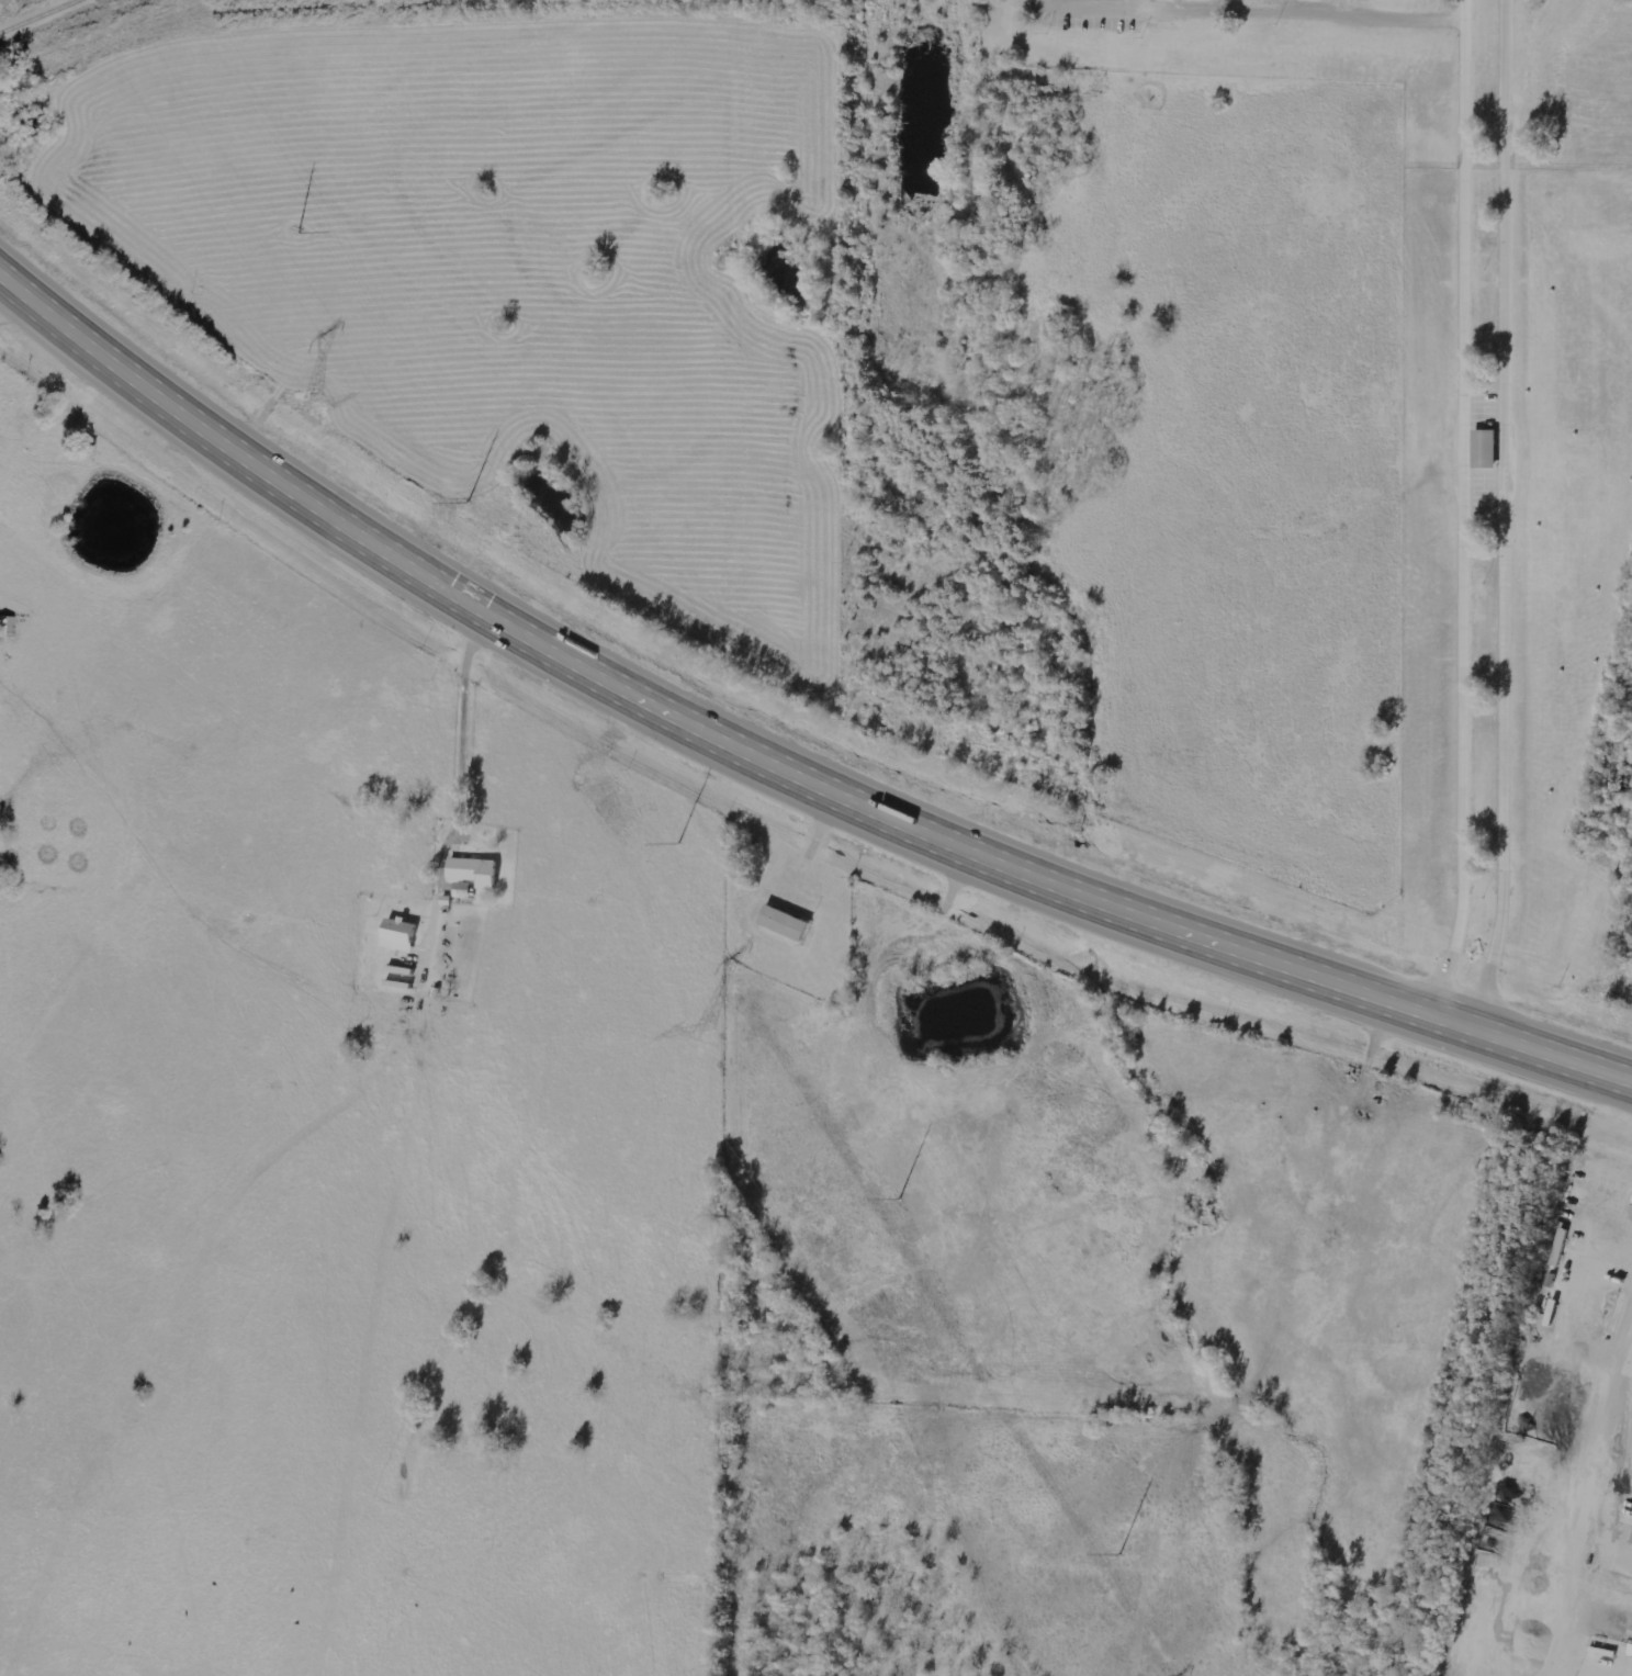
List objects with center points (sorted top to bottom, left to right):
road: (1141, 2)
road: (1096, 5)
road: (1307, 5)
railway: (41, 16)
power tower: (278, 205)
power tower: (315, 405)
building: (1483, 448)
road: (1476, 511)
road: (1512, 517)
power tower: (474, 526)
road: (772, 767)
power tower: (655, 817)
building: (477, 870)
building: (787, 922)
building: (402, 934)
power tower: (705, 1032)
power tower: (833, 1095)
railway: (1524, 1238)
power tower: (1046, 1447)
building: (1630, 1540)

